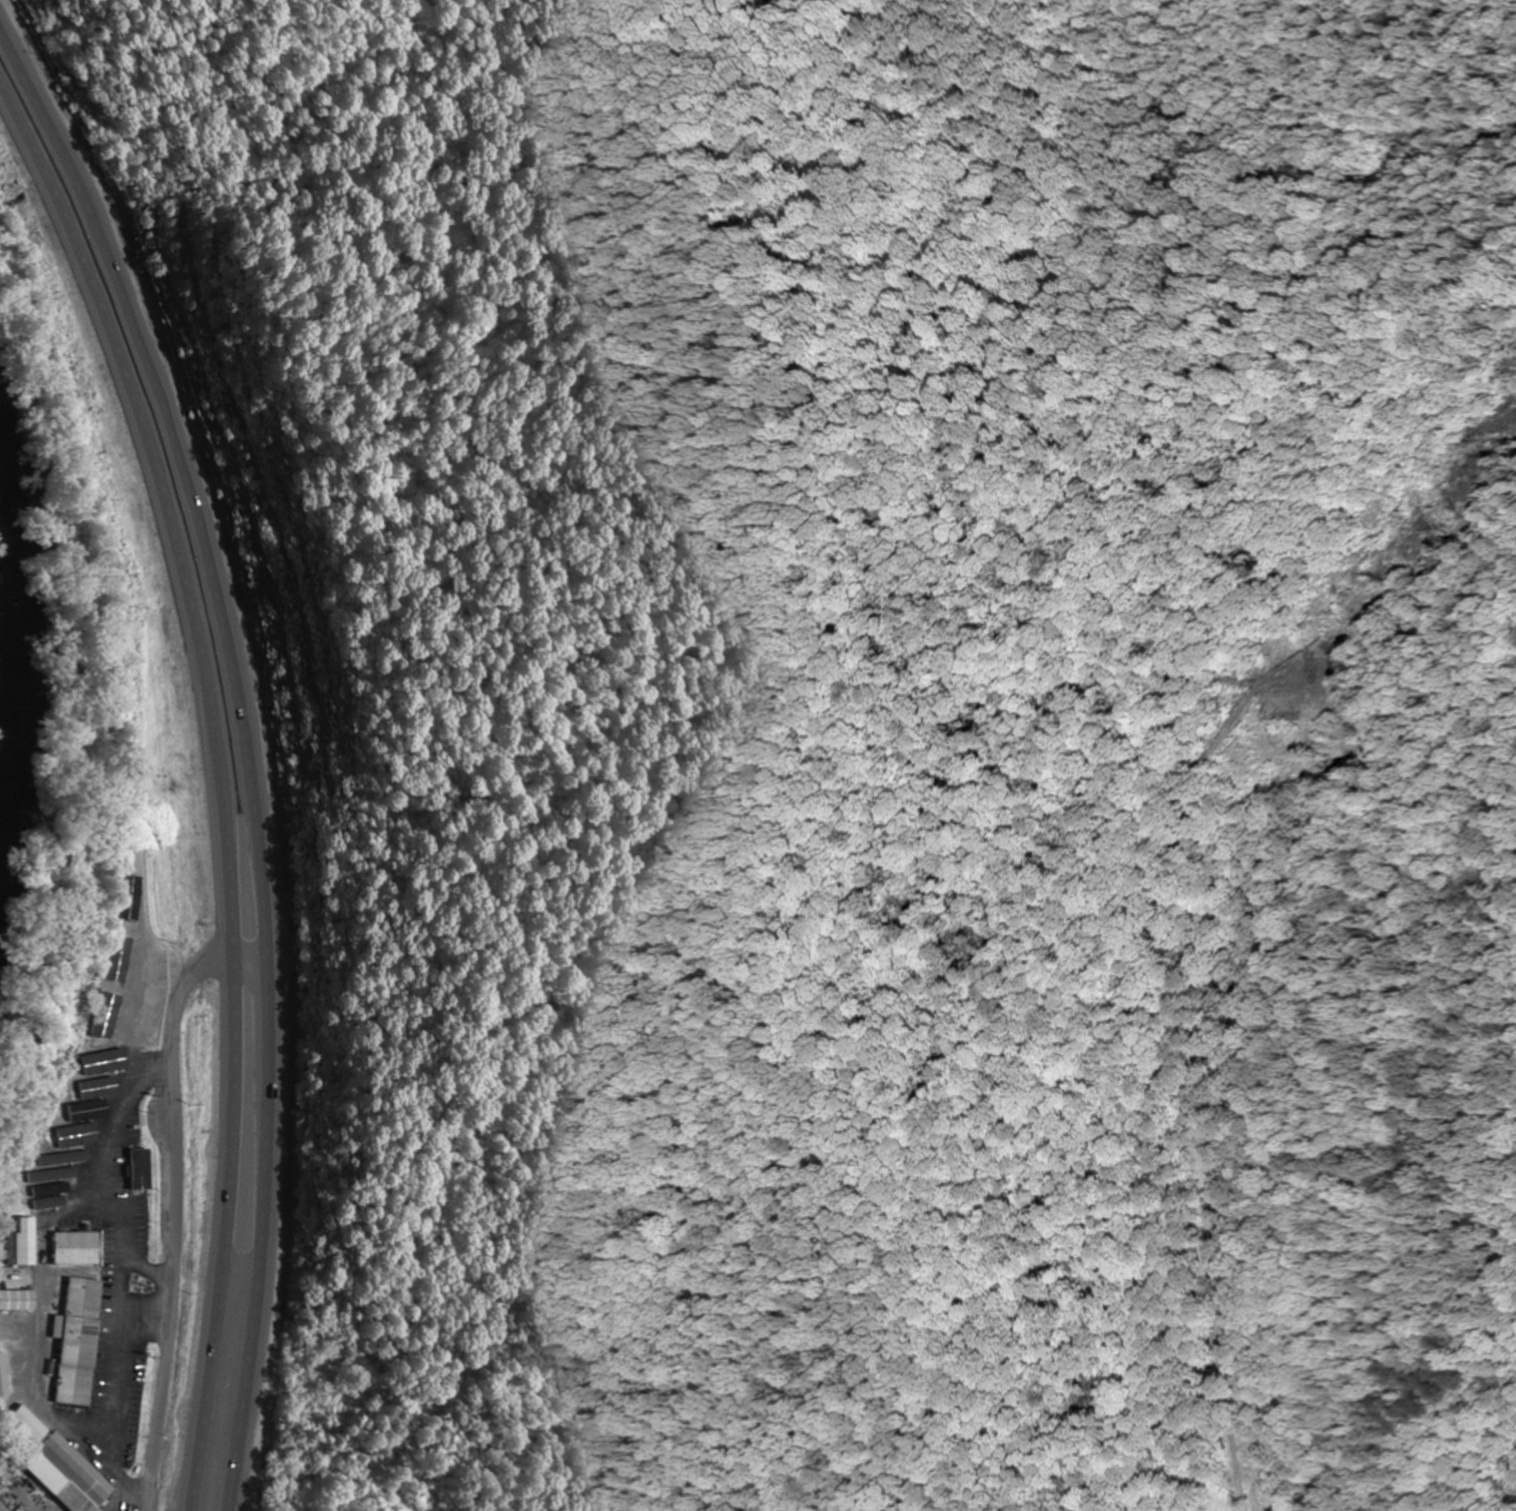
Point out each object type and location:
river: (19, 640)
road: (250, 743)
road: (218, 782)
building: (129, 895)
building: (124, 961)
building: (153, 1026)
building: (106, 1062)
building: (155, 1116)
building: (70, 1143)
building: (132, 1167)
building: (45, 1189)
road: (177, 1202)
building: (19, 1245)
building: (76, 1249)
building: (17, 1301)
building: (79, 1342)
building: (3, 1377)
building: (62, 1467)

